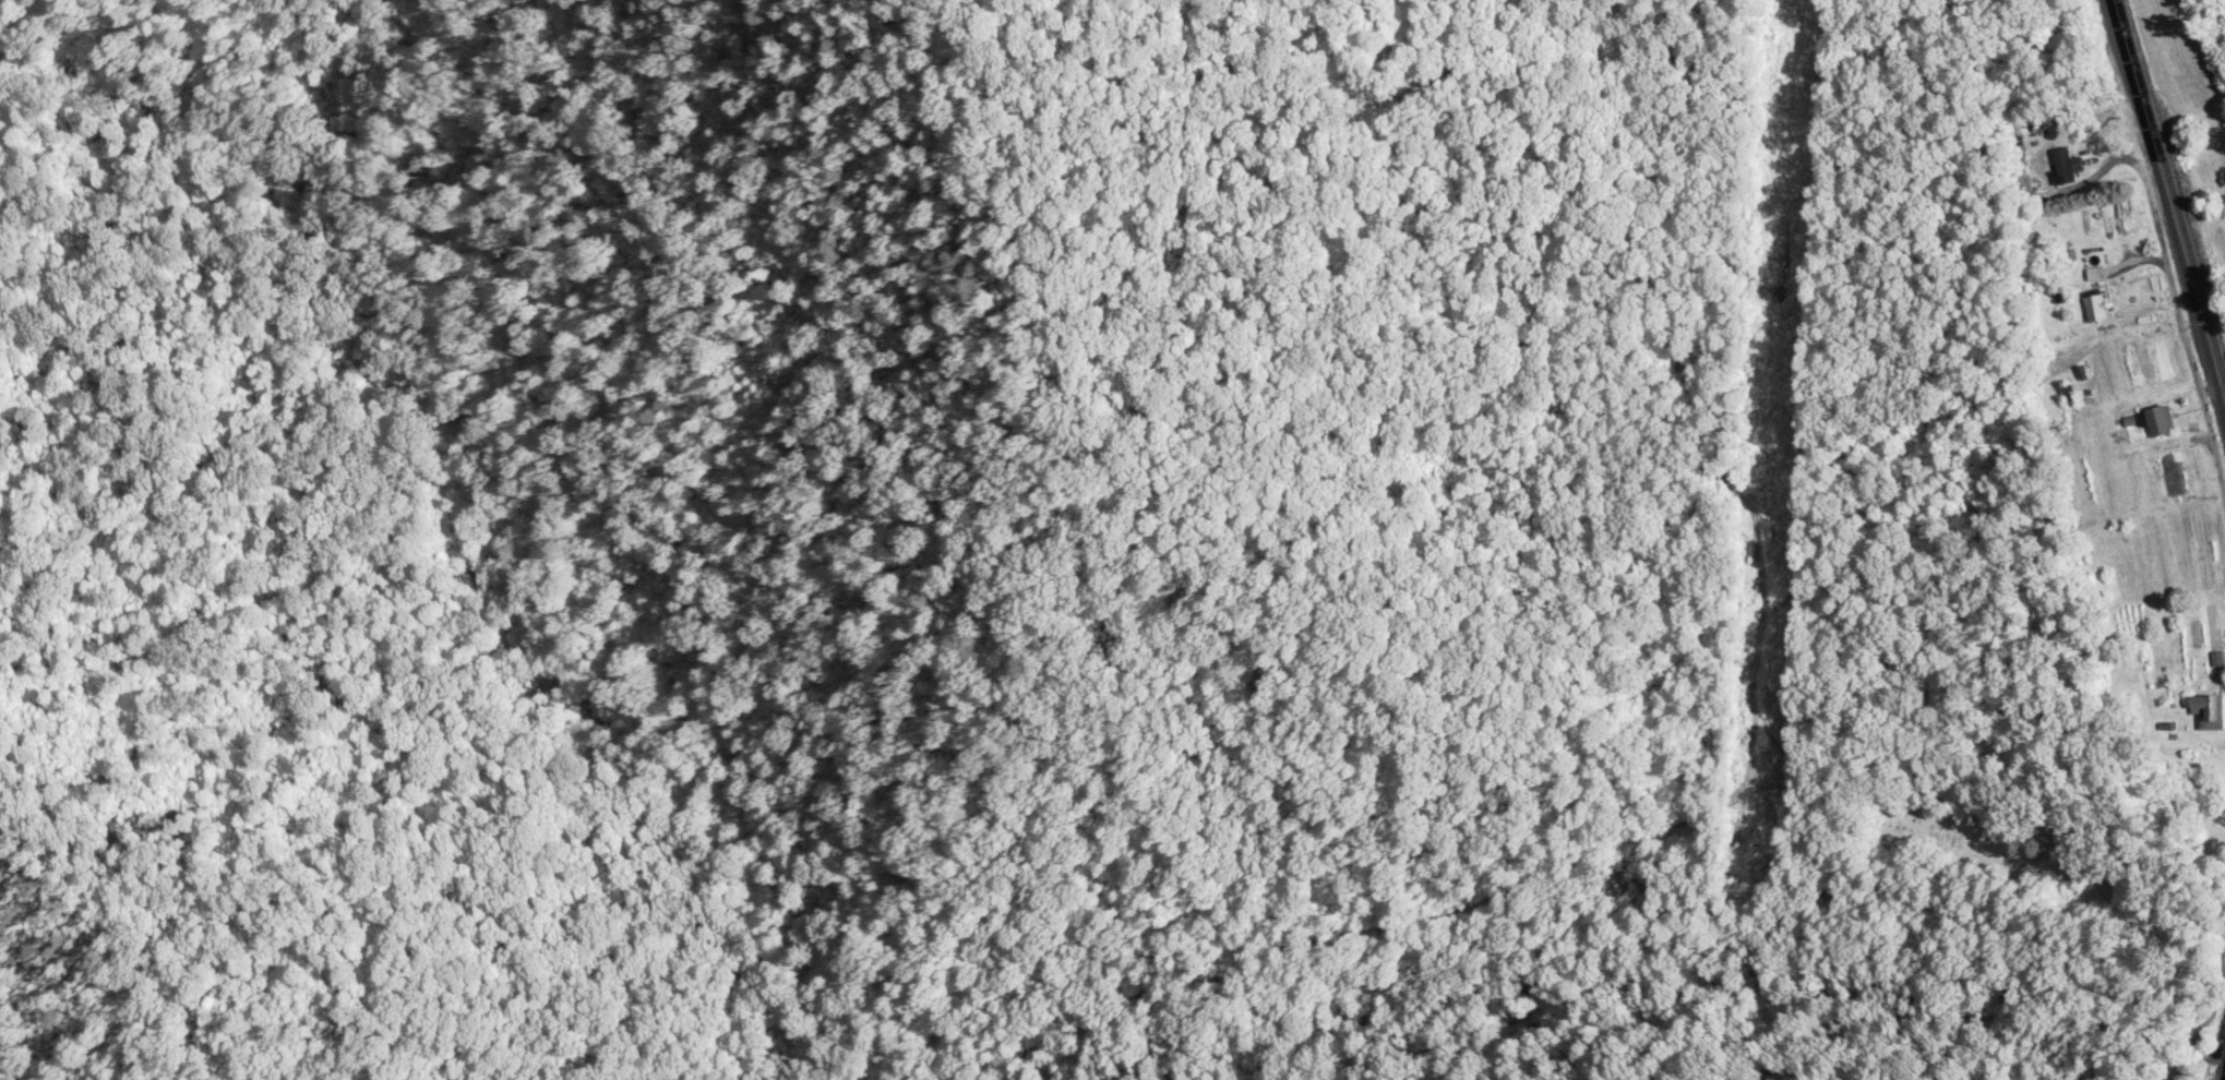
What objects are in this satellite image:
building: (2063, 166)
railway: (2167, 193)
road: (2150, 194)
building: (2098, 309)
road: (2196, 380)
building: (2194, 636)
building: (2211, 711)
road: (2206, 1018)
railway: (2224, 1079)

